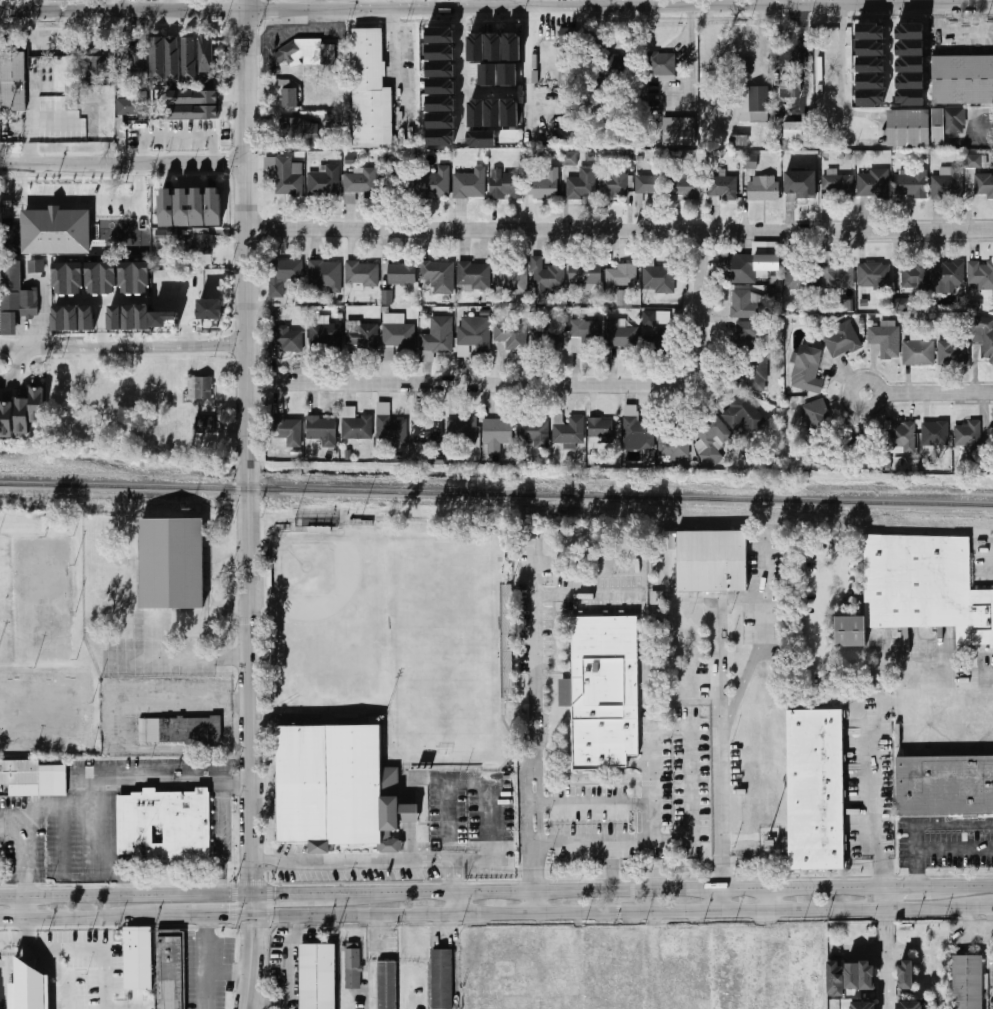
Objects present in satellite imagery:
road: (788, 2)
road: (938, 2)
road: (596, 3)
road: (525, 4)
road: (375, 5)
road: (432, 5)
road: (170, 6)
road: (496, 8)
road: (511, 13)
road: (478, 14)
road: (493, 14)
building: (870, 31)
building: (909, 31)
building: (439, 34)
building: (568, 37)
building: (746, 43)
road: (528, 45)
building: (475, 47)
building: (493, 47)
building: (511, 47)
building: (870, 48)
building: (909, 48)
building: (439, 51)
building: (305, 52)
road: (889, 52)
road: (804, 56)
road: (690, 57)
road: (839, 57)
building: (94, 59)
building: (164, 59)
building: (189, 59)
building: (206, 61)
building: (134, 63)
building: (660, 64)
building: (870, 64)
building: (909, 64)
building: (744, 66)
building: (605, 67)
building: (440, 68)
parking lot: (472, 72)
road: (461, 73)
building: (487, 75)
building: (507, 75)
building: (962, 79)
building: (870, 81)
building: (909, 81)
building: (13, 82)
building: (440, 85)
road: (490, 89)
building: (654, 89)
building: (790, 89)
building: (370, 90)
building: (72, 96)
building: (870, 97)
building: (909, 97)
building: (289, 98)
building: (198, 101)
building: (440, 102)
road: (528, 103)
building: (754, 104)
building: (131, 107)
building: (475, 113)
building: (493, 113)
building: (509, 113)
building: (441, 119)
building: (947, 124)
parking lot: (979, 127)
building: (907, 128)
building: (296, 130)
building: (792, 130)
building: (678, 131)
building: (441, 137)
building: (482, 139)
building: (569, 158)
building: (976, 162)
road: (123, 164)
building: (750, 165)
building: (285, 176)
building: (323, 181)
building: (469, 182)
building: (433, 183)
building: (358, 184)
building: (506, 184)
building: (543, 184)
building: (581, 184)
building: (797, 184)
building: (871, 184)
building: (910, 184)
building: (948, 184)
building: (840, 185)
building: (613, 186)
building: (652, 186)
building: (984, 186)
building: (687, 187)
building: (722, 188)
building: (762, 188)
road: (80, 194)
building: (186, 206)
building: (201, 206)
building: (217, 206)
building: (170, 207)
building: (60, 231)
road: (619, 232)
building: (197, 243)
building: (747, 265)
building: (37, 266)
building: (979, 271)
building: (584, 273)
building: (361, 274)
building: (401, 274)
building: (473, 274)
building: (510, 274)
building: (283, 275)
building: (324, 275)
building: (840, 275)
building: (875, 275)
building: (438, 276)
building: (134, 277)
building: (545, 277)
building: (802, 277)
building: (915, 277)
building: (947, 277)
building: (68, 278)
building: (101, 278)
building: (618, 278)
building: (658, 279)
building: (15, 297)
building: (387, 297)
building: (622, 298)
building: (742, 304)
building: (901, 305)
building: (64, 307)
building: (210, 309)
building: (137, 317)
building: (88, 318)
building: (115, 318)
building: (163, 318)
building: (656, 318)
building: (324, 334)
building: (619, 334)
building: (511, 335)
building: (361, 336)
building: (396, 336)
building: (583, 336)
building: (746, 336)
building: (984, 337)
building: (436, 338)
building: (288, 339)
building: (472, 339)
building: (550, 339)
building: (841, 339)
building: (886, 340)
building: (658, 342)
road: (126, 347)
building: (956, 350)
building: (918, 353)
road: (16, 362)
building: (807, 370)
building: (757, 373)
road: (544, 385)
building: (199, 388)
road: (929, 388)
building: (37, 404)
building: (743, 414)
building: (23, 416)
building: (7, 419)
building: (817, 421)
building: (389, 426)
building: (204, 427)
building: (356, 428)
building: (426, 428)
building: (532, 429)
building: (637, 429)
building: (322, 430)
building: (461, 430)
building: (569, 431)
building: (601, 431)
building: (496, 434)
building: (935, 434)
building: (968, 434)
building: (900, 435)
building: (287, 436)
building: (709, 439)
building: (675, 443)
railway: (496, 495)
road: (247, 504)
building: (713, 561)
building: (173, 563)
park: (321, 590)
building: (919, 590)
road: (585, 592)
road: (763, 593)
park: (36, 603)
park: (442, 646)
road: (195, 654)
road: (873, 656)
road: (717, 669)
road: (740, 689)
building: (604, 691)
building: (565, 692)
road: (534, 718)
road: (690, 726)
building: (179, 729)
building: (32, 777)
road: (172, 782)
building: (331, 784)
road: (468, 784)
building: (944, 786)
road: (120, 787)
building: (820, 789)
road: (880, 793)
road: (586, 805)
road: (718, 813)
road: (20, 817)
parking lot: (81, 818)
road: (121, 824)
road: (923, 824)
building: (165, 825)
road: (10, 826)
road: (218, 839)
road: (570, 842)
road: (95, 843)
road: (612, 848)
road: (373, 859)
traffic signals: (252, 875)
road: (122, 877)
road: (975, 886)
road: (921, 887)
road: (619, 890)
road: (303, 895)
traffic signals: (275, 896)
road: (126, 897)
road: (718, 899)
road: (766, 899)
road: (531, 901)
road: (625, 901)
road: (460, 903)
road: (25, 908)
road: (984, 908)
road: (870, 909)
road: (508, 911)
road: (197, 917)
traffic signals: (226, 917)
road: (71, 918)
road: (978, 927)
traffic signals: (252, 931)
road: (27, 932)
road: (684, 932)
street lamp: (37, 942)
building: (473, 942)
road: (14, 945)
road: (92, 946)
building: (678, 946)
road: (885, 948)
road: (870, 951)
building: (592, 958)
building: (136, 959)
road: (765, 959)
road: (373, 960)
road: (651, 960)
road: (288, 961)
road: (208, 962)
building: (729, 964)
building: (808, 965)
building: (352, 967)
parking lot: (77, 968)
building: (175, 968)
building: (628, 968)
road: (56, 970)
street lamp: (87, 972)
road: (228, 974)
building: (909, 974)
building: (321, 975)
building: (867, 975)
building: (445, 976)
building: (852, 976)
building: (835, 979)
building: (967, 982)
building: (19, 984)
building: (391, 984)
building: (510, 987)
building: (33, 988)
building: (684, 989)
building: (47, 990)
building: (910, 1005)
building: (863, 1006)
building: (517, 1008)

